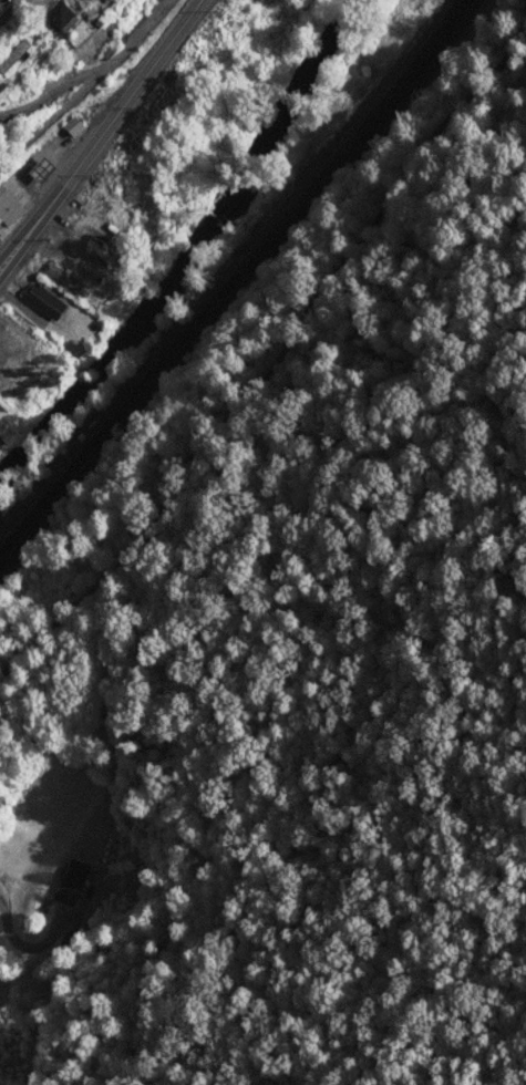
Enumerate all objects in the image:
building: (94, 0)
road: (12, 14)
building: (62, 15)
building: (17, 56)
road: (89, 86)
building: (76, 126)
road: (105, 136)
building: (45, 170)
building: (10, 207)
building: (71, 280)
railway: (234, 283)
railway: (239, 290)
building: (47, 301)
building: (74, 882)
road: (426, 998)

